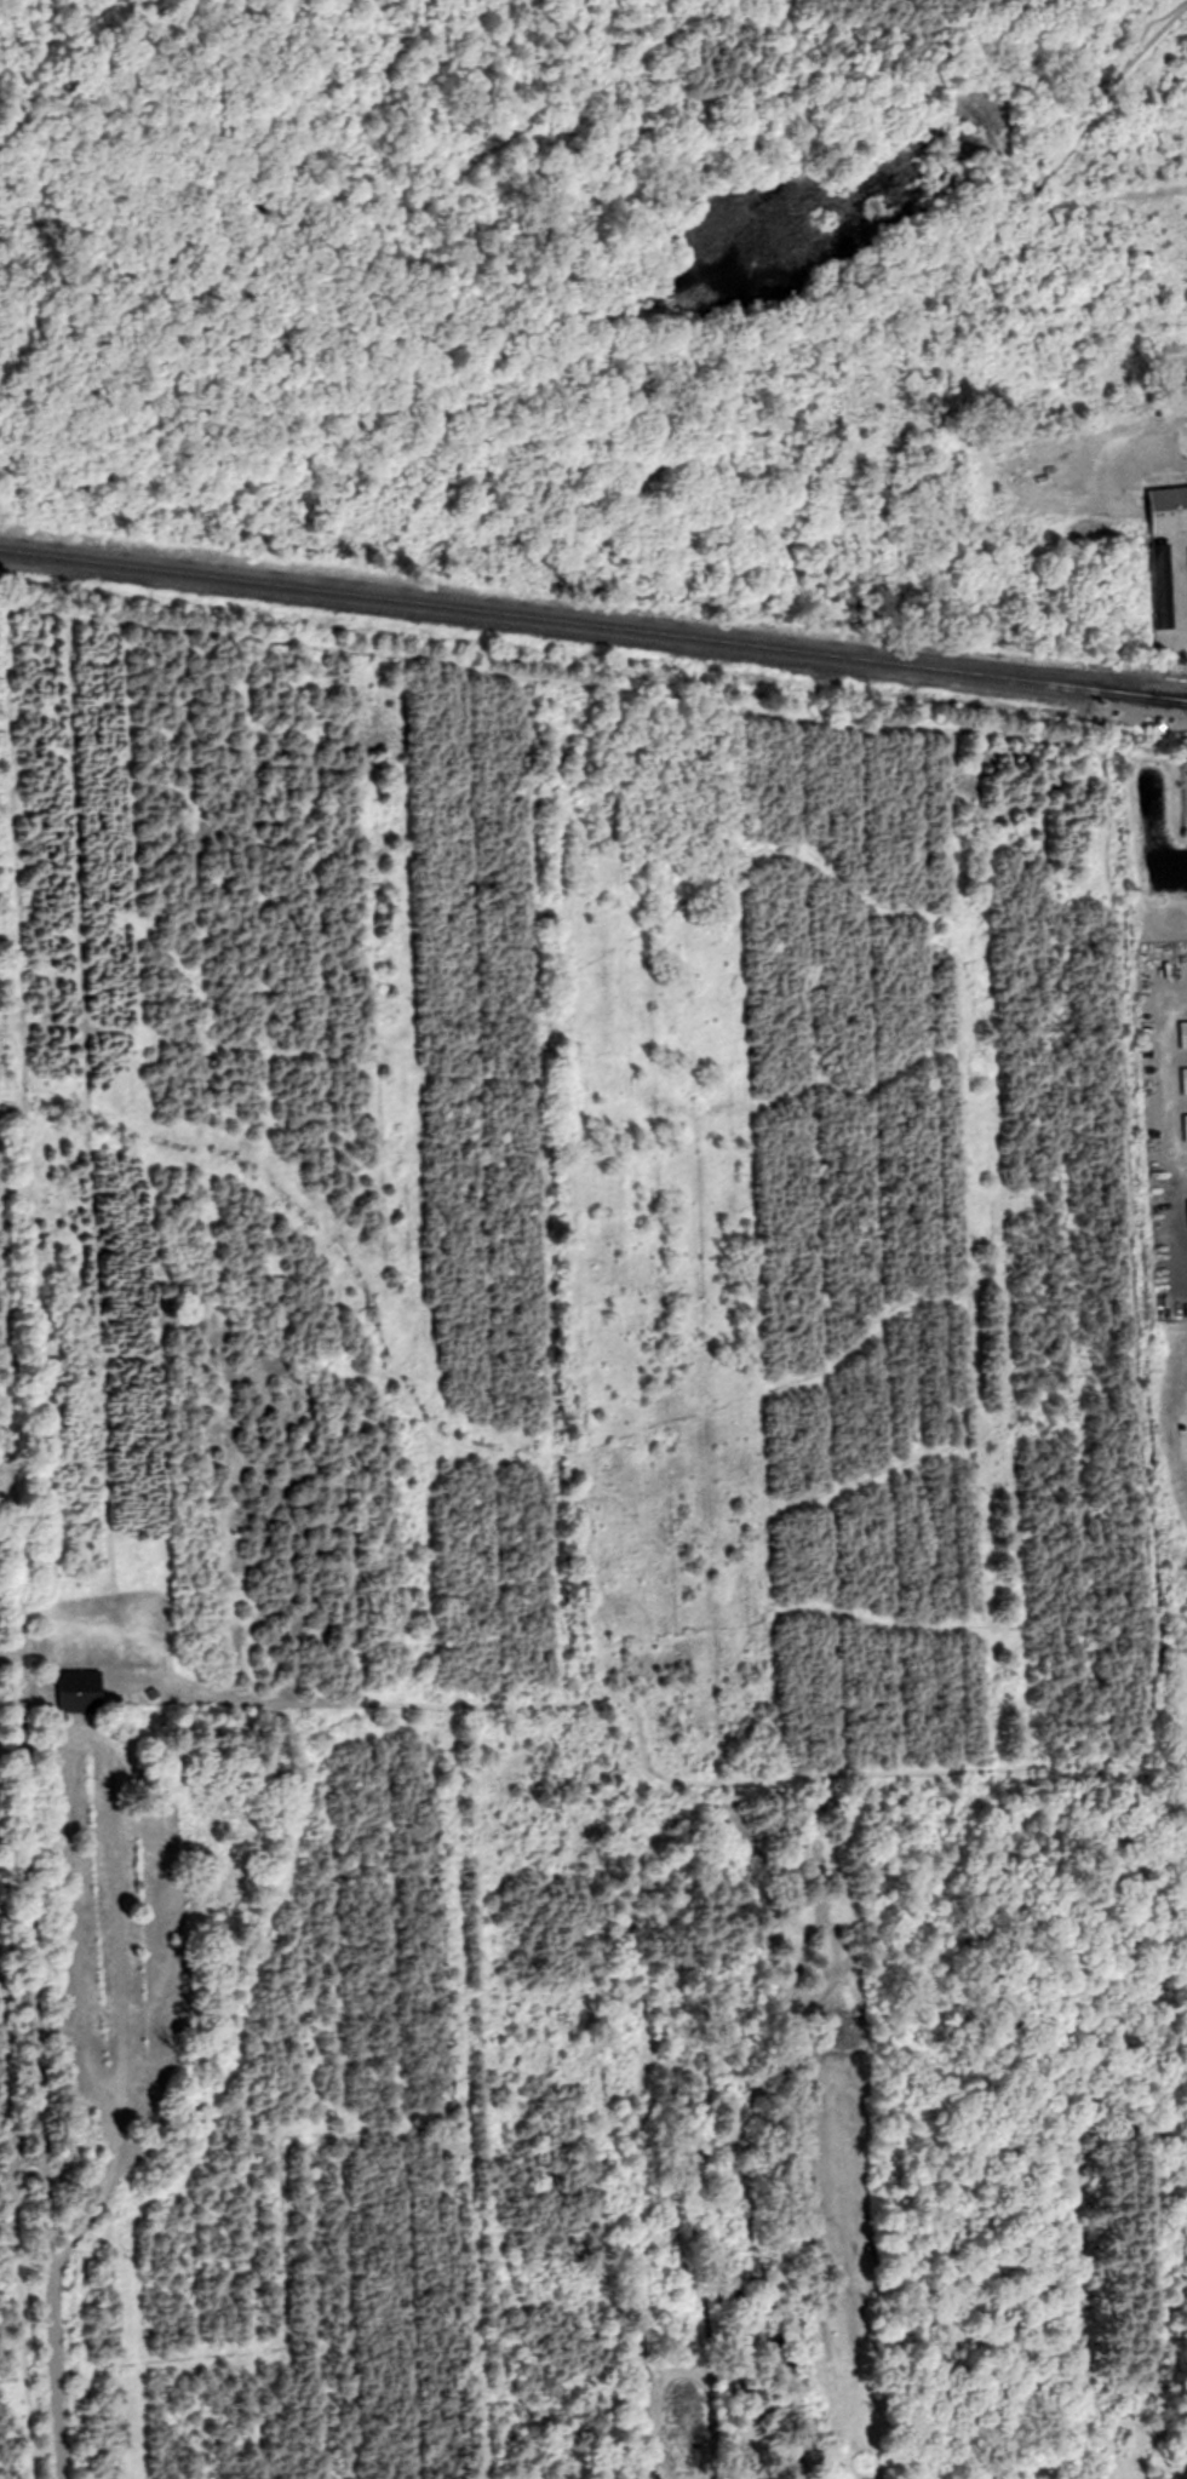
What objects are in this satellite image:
road: (1164, 423)
building: (1170, 509)
building: (1164, 583)
railway: (577, 624)
railway: (1170, 700)
railway: (1170, 700)
building: (1182, 1033)
building: (1183, 1080)
building: (1185, 1126)
building: (80, 1691)

